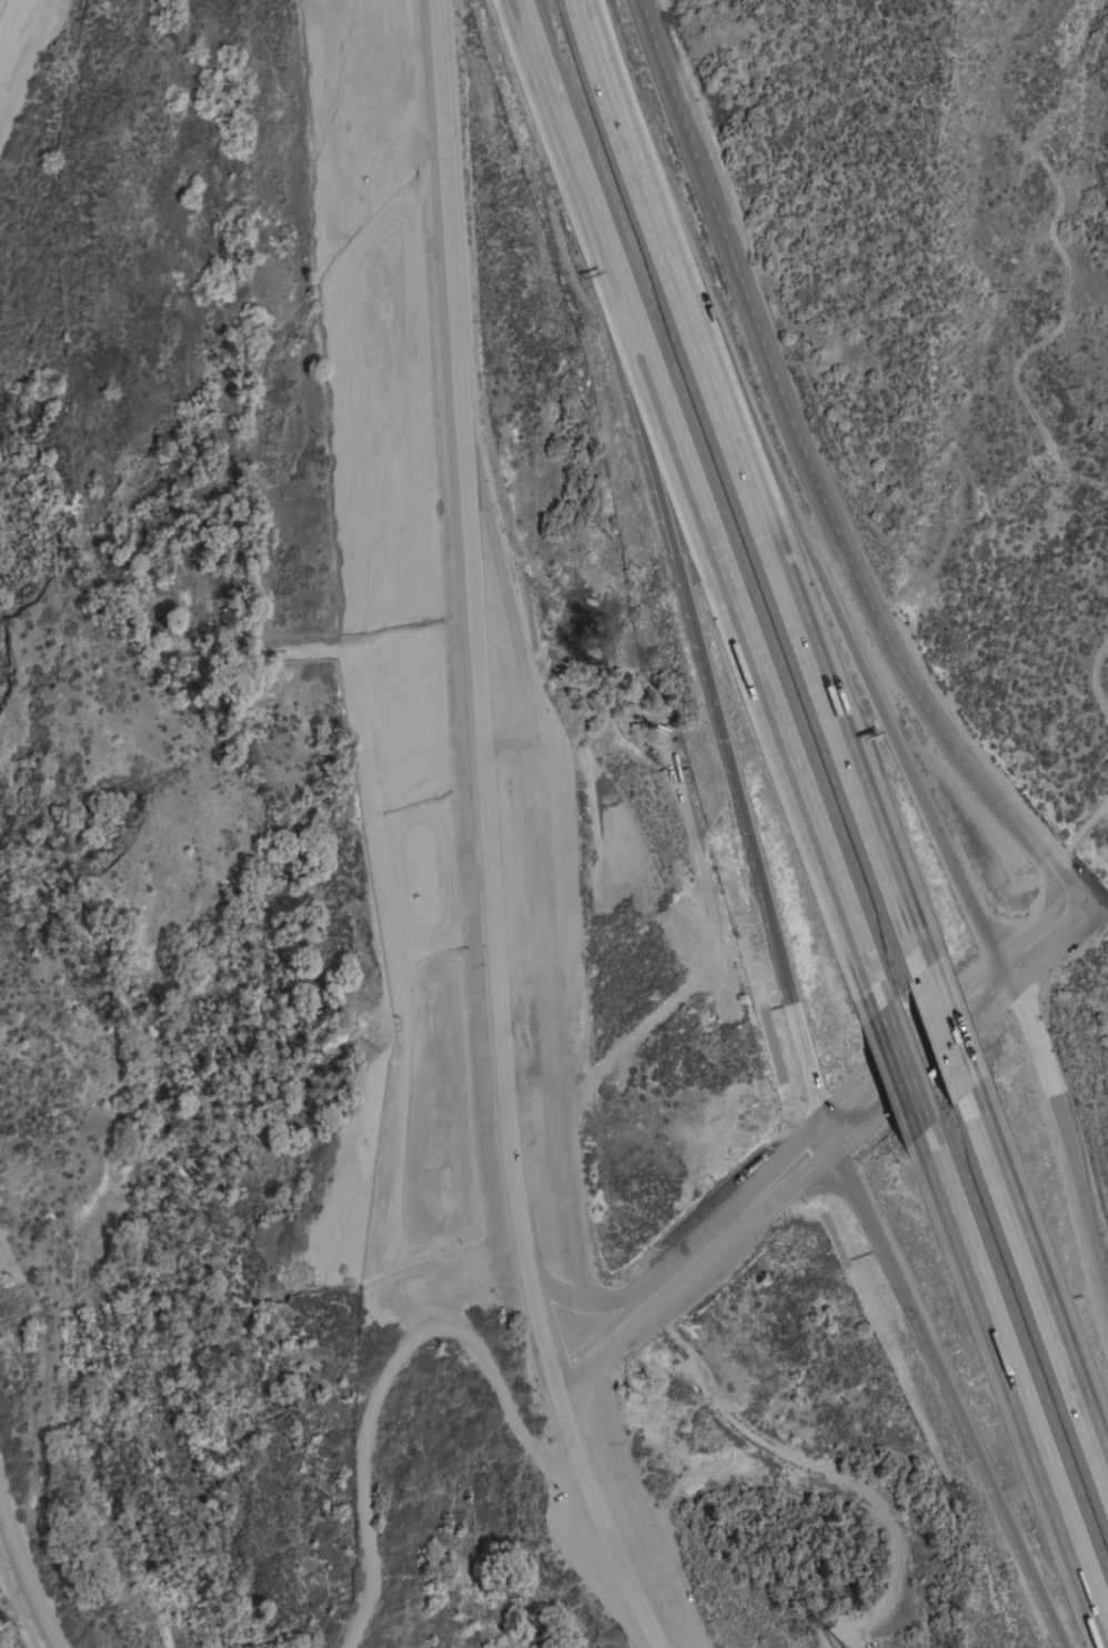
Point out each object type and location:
road: (541, 77)
road: (602, 273)
road: (819, 476)
road: (752, 483)
road: (723, 582)
road: (888, 713)
road: (491, 836)
road: (948, 1027)
road: (806, 1037)
road: (899, 1073)
road: (818, 1139)
road: (1039, 1279)
road: (600, 1302)
road: (394, 1375)
road: (1014, 1391)

